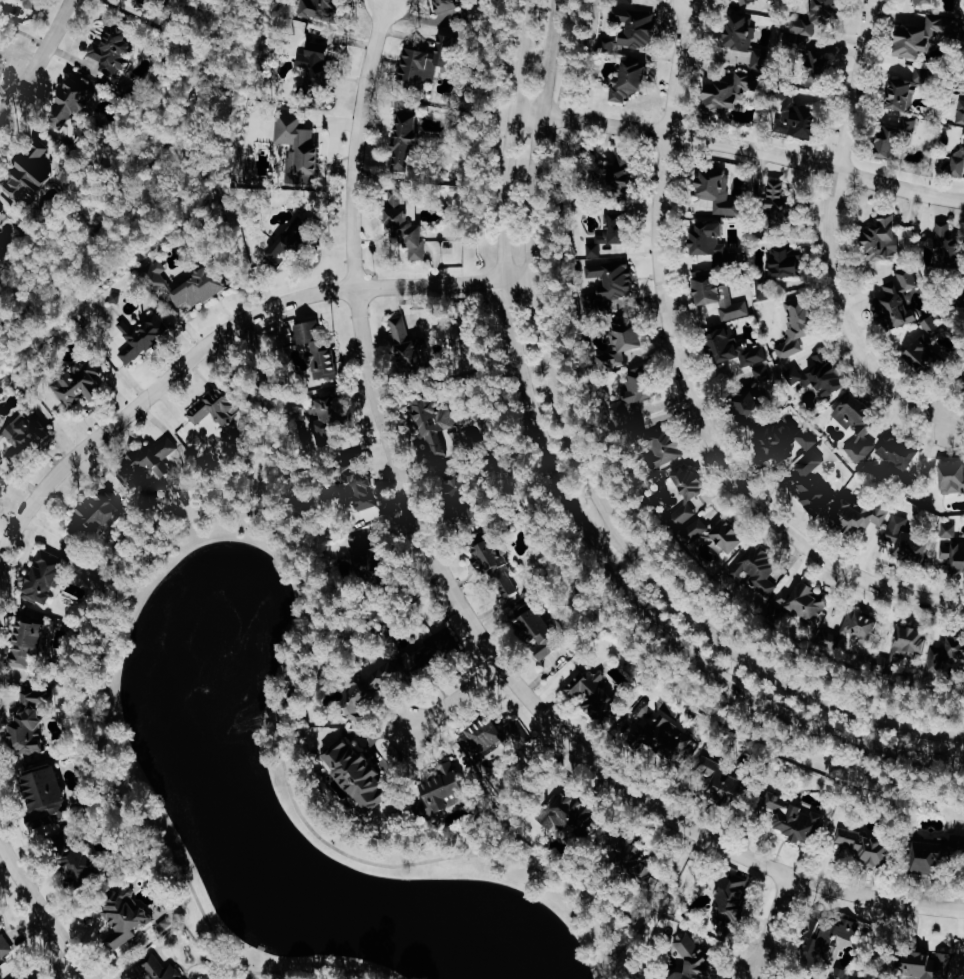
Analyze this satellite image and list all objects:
building: (8, 0)
building: (628, 1)
building: (749, 1)
building: (926, 1)
building: (31, 3)
building: (764, 4)
building: (449, 5)
building: (322, 8)
building: (816, 18)
building: (629, 30)
building: (743, 31)
road: (24, 33)
building: (924, 35)
building: (963, 37)
building: (797, 43)
building: (113, 48)
road: (40, 60)
building: (317, 66)
building: (633, 77)
building: (733, 91)
building: (904, 93)
building: (74, 101)
building: (961, 111)
building: (802, 112)
building: (900, 136)
building: (408, 138)
building: (300, 145)
road: (740, 148)
building: (958, 162)
building: (619, 173)
road: (137, 177)
building: (28, 179)
building: (720, 190)
building: (783, 206)
building: (3, 208)
road: (222, 217)
building: (406, 224)
road: (830, 231)
building: (613, 233)
building: (884, 236)
building: (711, 238)
building: (295, 240)
building: (951, 244)
building: (787, 261)
road: (445, 283)
building: (188, 284)
building: (720, 296)
building: (899, 297)
building: (801, 328)
building: (142, 336)
building: (626, 345)
building: (735, 347)
building: (927, 350)
building: (321, 351)
building: (826, 372)
road: (684, 376)
building: (794, 376)
building: (80, 384)
road: (153, 387)
building: (759, 393)
building: (638, 395)
building: (219, 406)
building: (329, 419)
road: (265, 422)
building: (436, 425)
building: (860, 428)
building: (23, 435)
building: (785, 441)
building: (667, 445)
road: (607, 451)
building: (899, 452)
building: (156, 460)
road: (587, 472)
building: (953, 477)
building: (361, 484)
building: (813, 484)
road: (564, 492)
building: (688, 494)
road: (245, 514)
building: (862, 515)
building: (103, 517)
road: (246, 522)
building: (719, 533)
road: (607, 539)
building: (907, 539)
building: (953, 546)
building: (369, 555)
building: (757, 567)
building: (45, 577)
road: (457, 598)
building: (805, 603)
building: (539, 627)
building: (852, 630)
building: (30, 640)
building: (911, 642)
building: (955, 651)
building: (433, 653)
building: (370, 688)
building: (599, 695)
road: (453, 699)
building: (645, 708)
building: (33, 719)
building: (667, 737)
building: (489, 738)
road: (959, 747)
building: (360, 774)
building: (721, 778)
building: (449, 791)
building: (47, 793)
building: (573, 816)
building: (795, 817)
building: (861, 841)
building: (934, 854)
building: (635, 858)
building: (84, 867)
road: (654, 901)
building: (731, 905)
road: (45, 911)
building: (126, 917)
building: (1, 920)
road: (770, 928)
road: (885, 939)
building: (6, 941)
building: (830, 945)
road: (609, 951)
building: (695, 959)
building: (936, 966)
building: (161, 968)
building: (37, 976)
road: (248, 976)
building: (19, 978)

